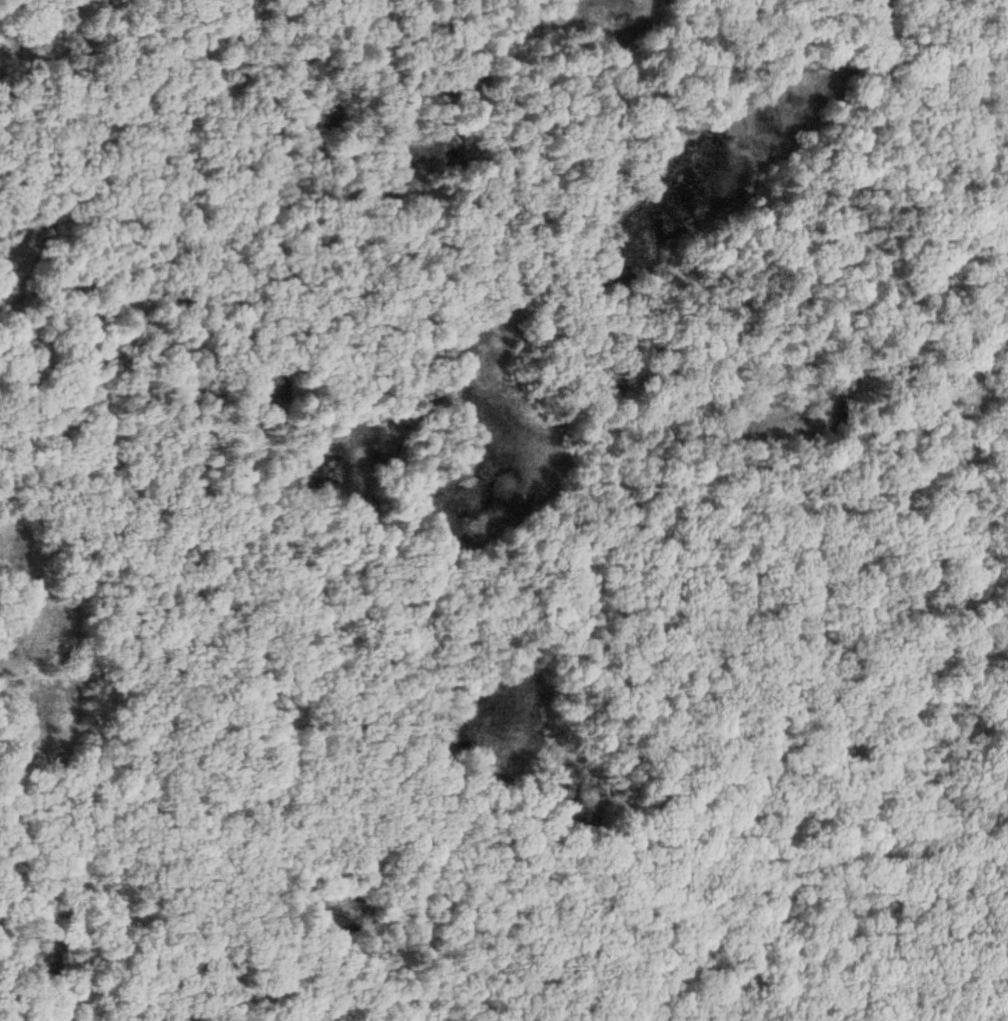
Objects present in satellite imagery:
road: (585, 328)
park: (504, 510)

